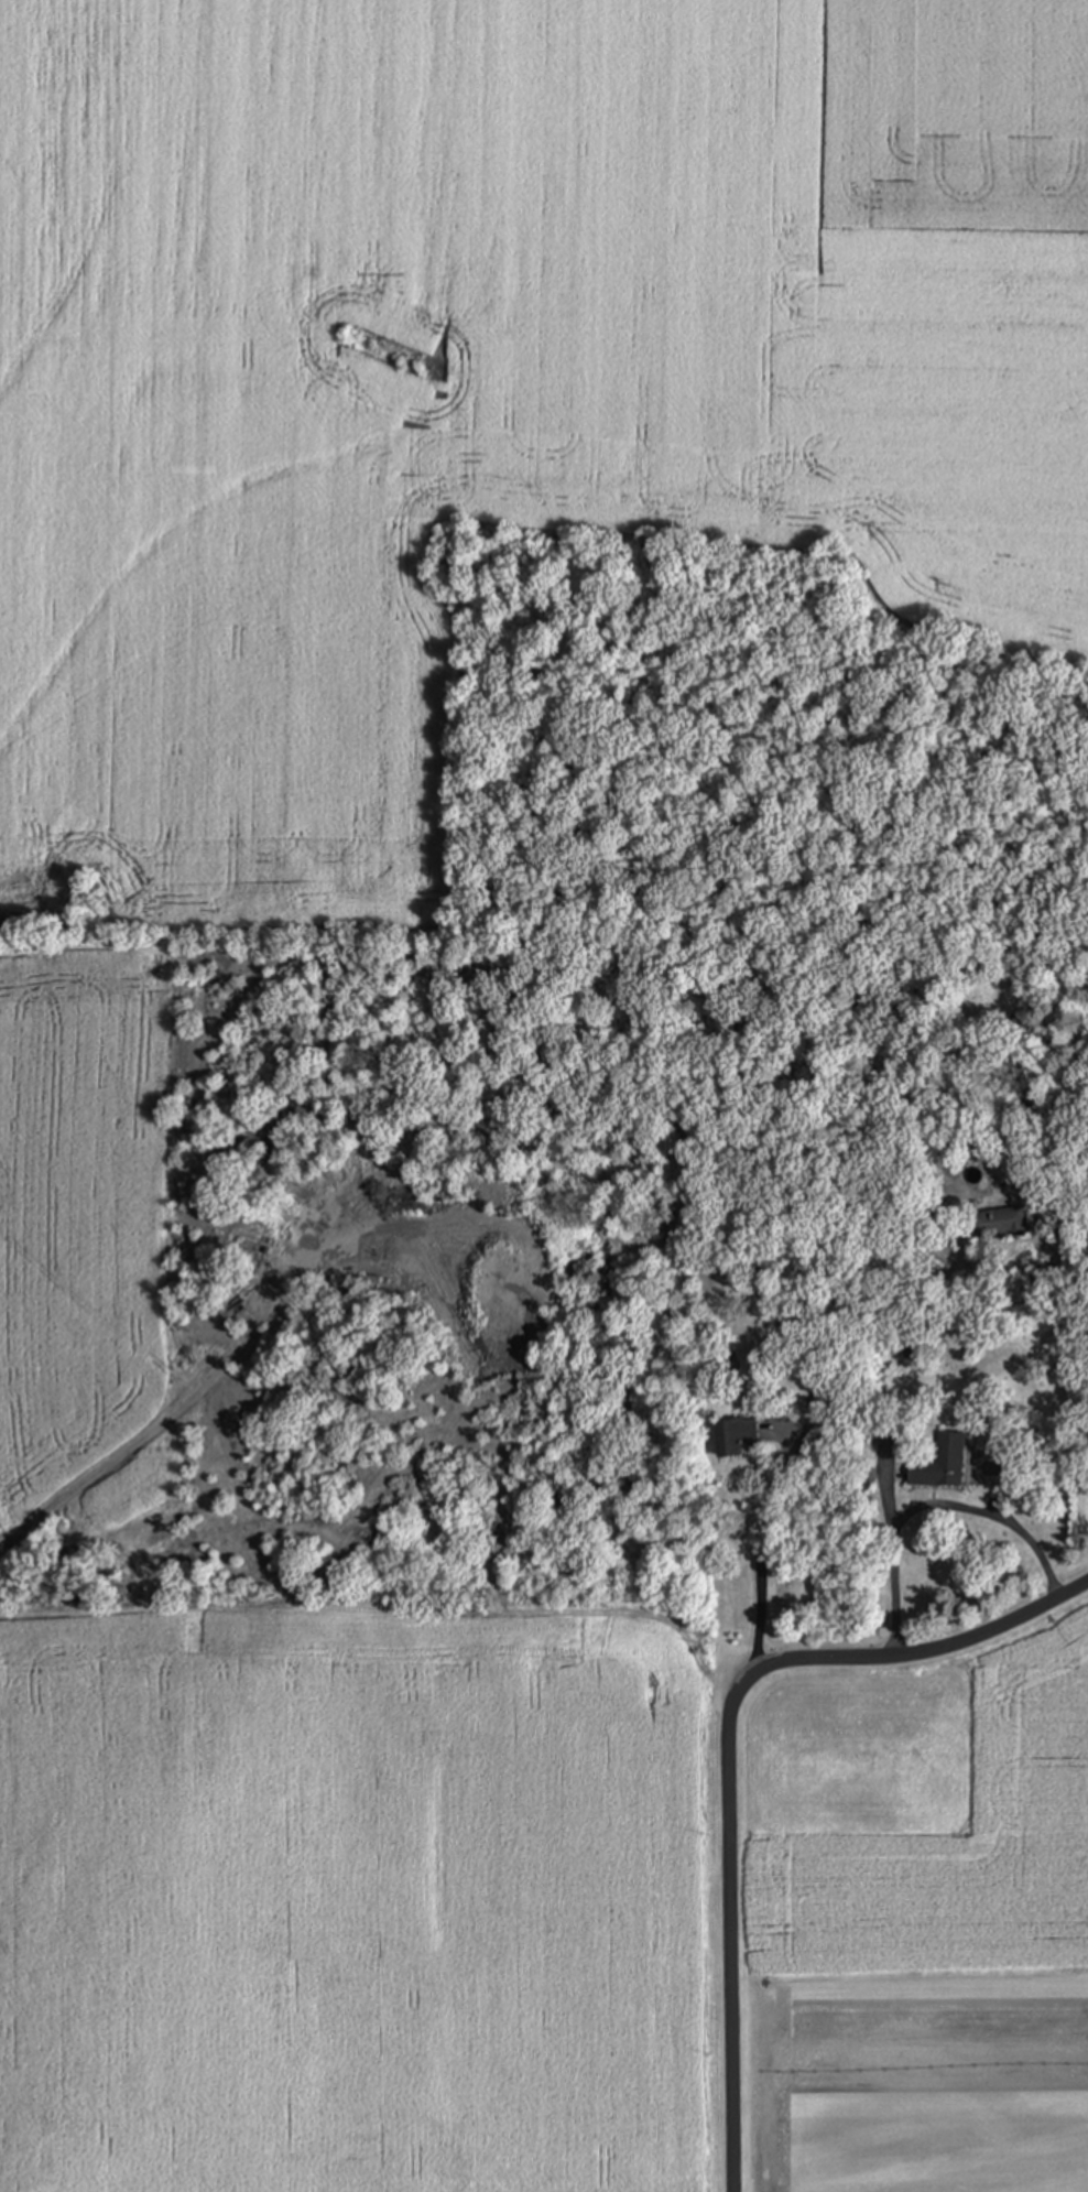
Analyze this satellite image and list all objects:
building: (1001, 1225)
road: (1060, 1244)
road: (186, 1401)
building: (736, 1441)
building: (944, 1465)
road: (988, 1515)
road: (889, 1565)
road: (761, 1610)
road: (726, 1750)

